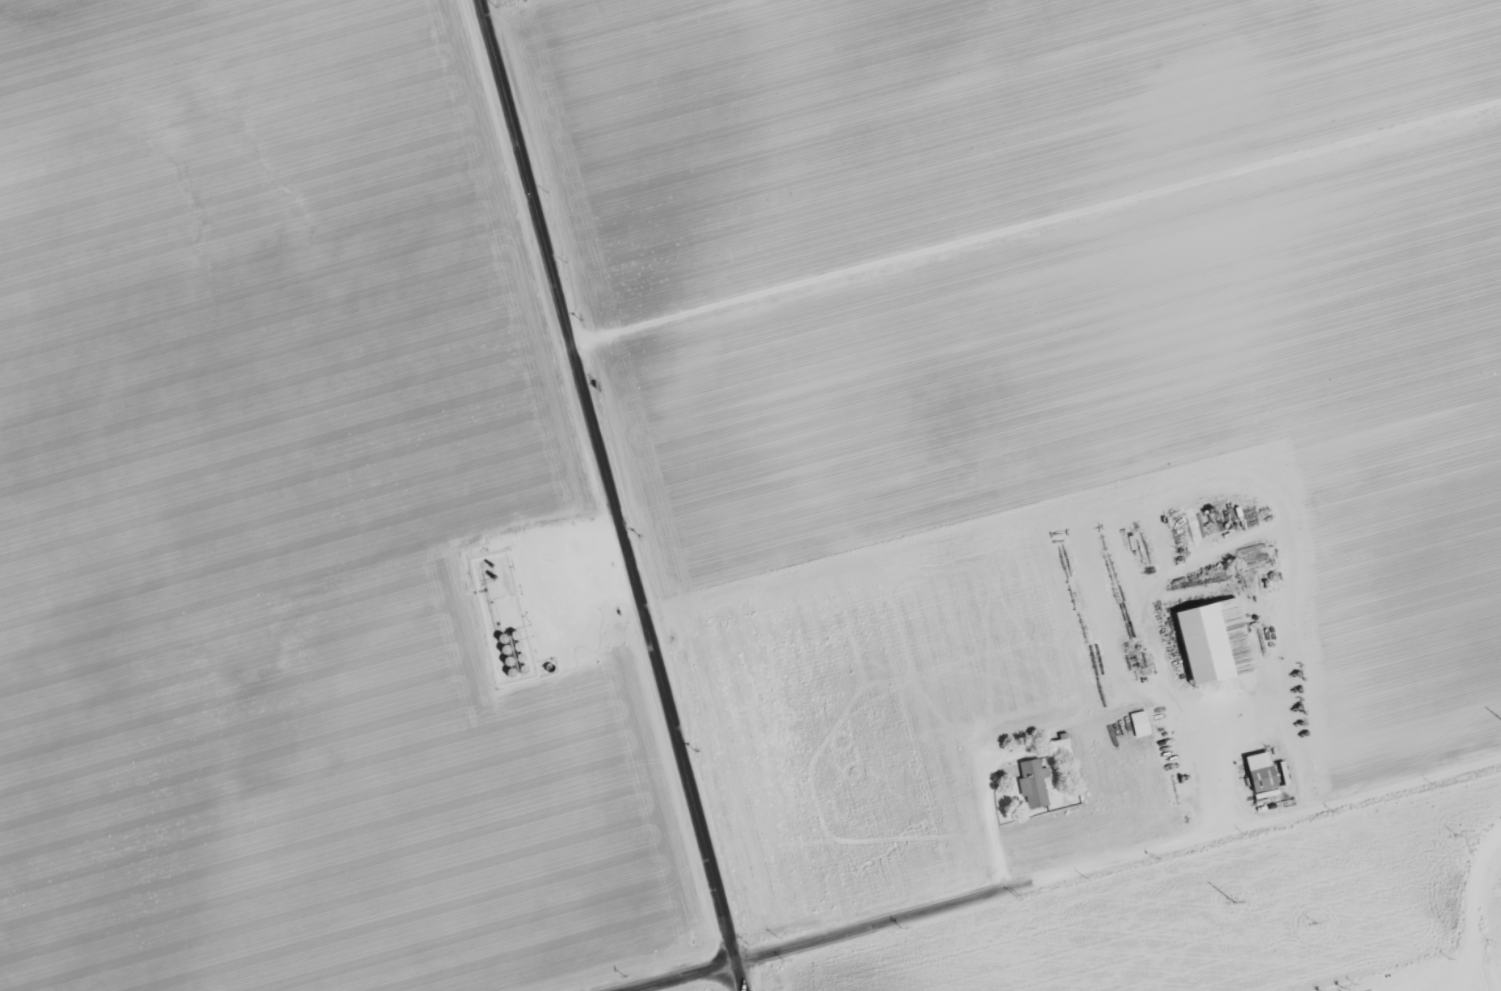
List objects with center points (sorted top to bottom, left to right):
road: (601, 490)
building: (1140, 724)
building: (1261, 772)
building: (1032, 785)
road: (987, 808)
power tower: (1456, 834)
road: (999, 891)
power tower: (1233, 902)
power tower: (1314, 924)

